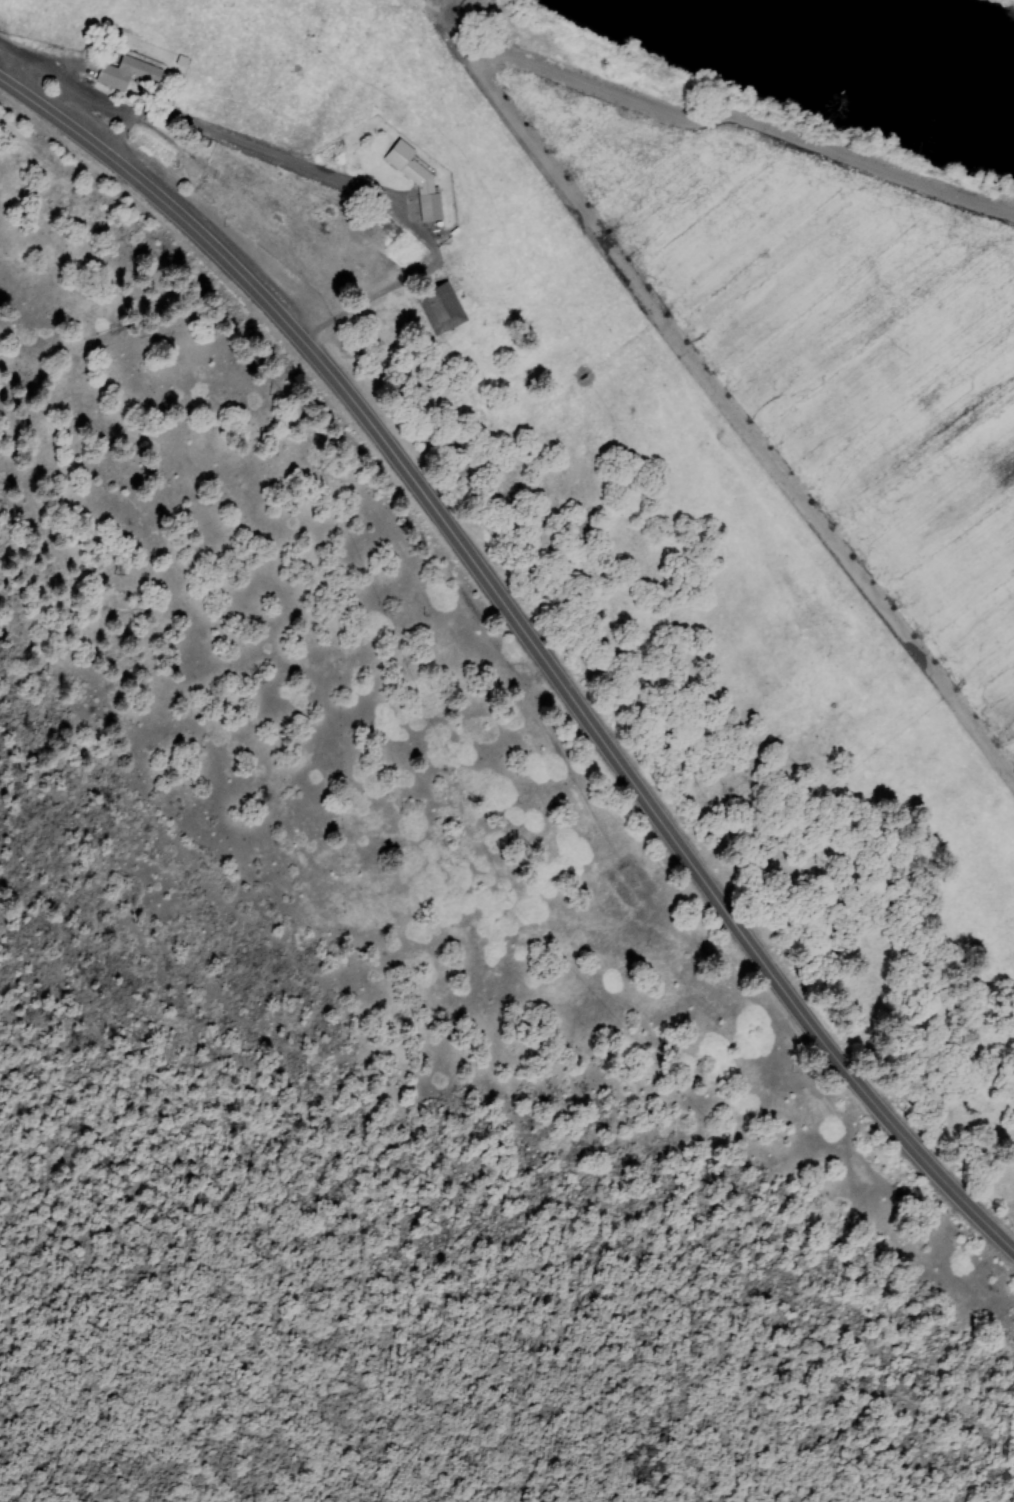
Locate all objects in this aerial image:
river: (882, 52)
building: (127, 72)
building: (417, 178)
building: (444, 308)
road: (530, 650)

